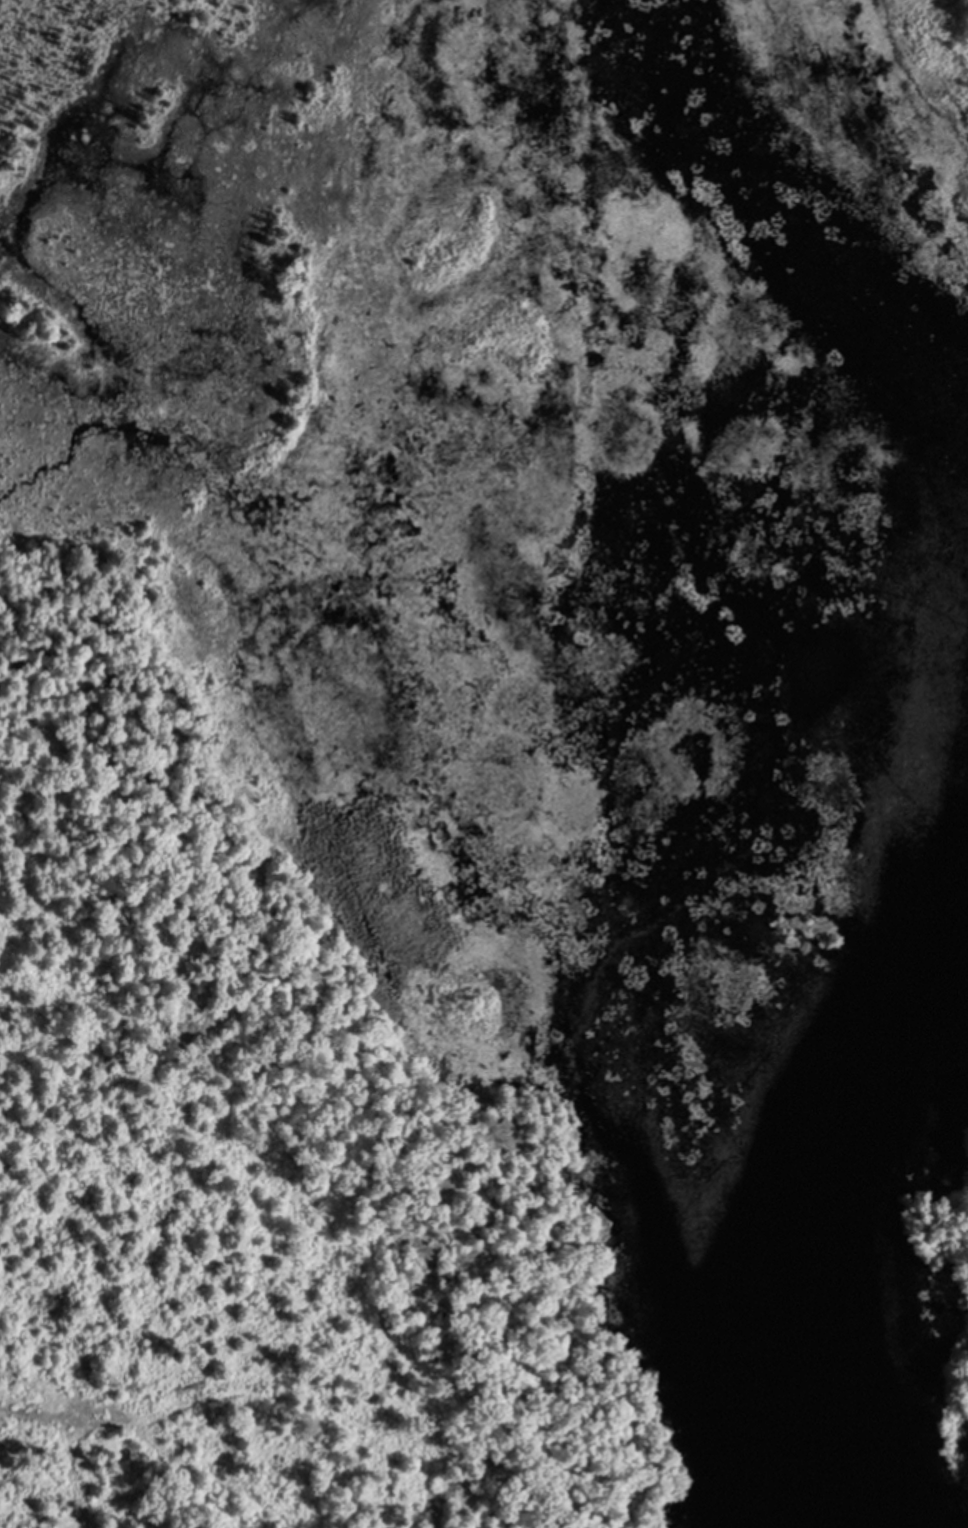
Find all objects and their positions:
road: (251, 1417)

